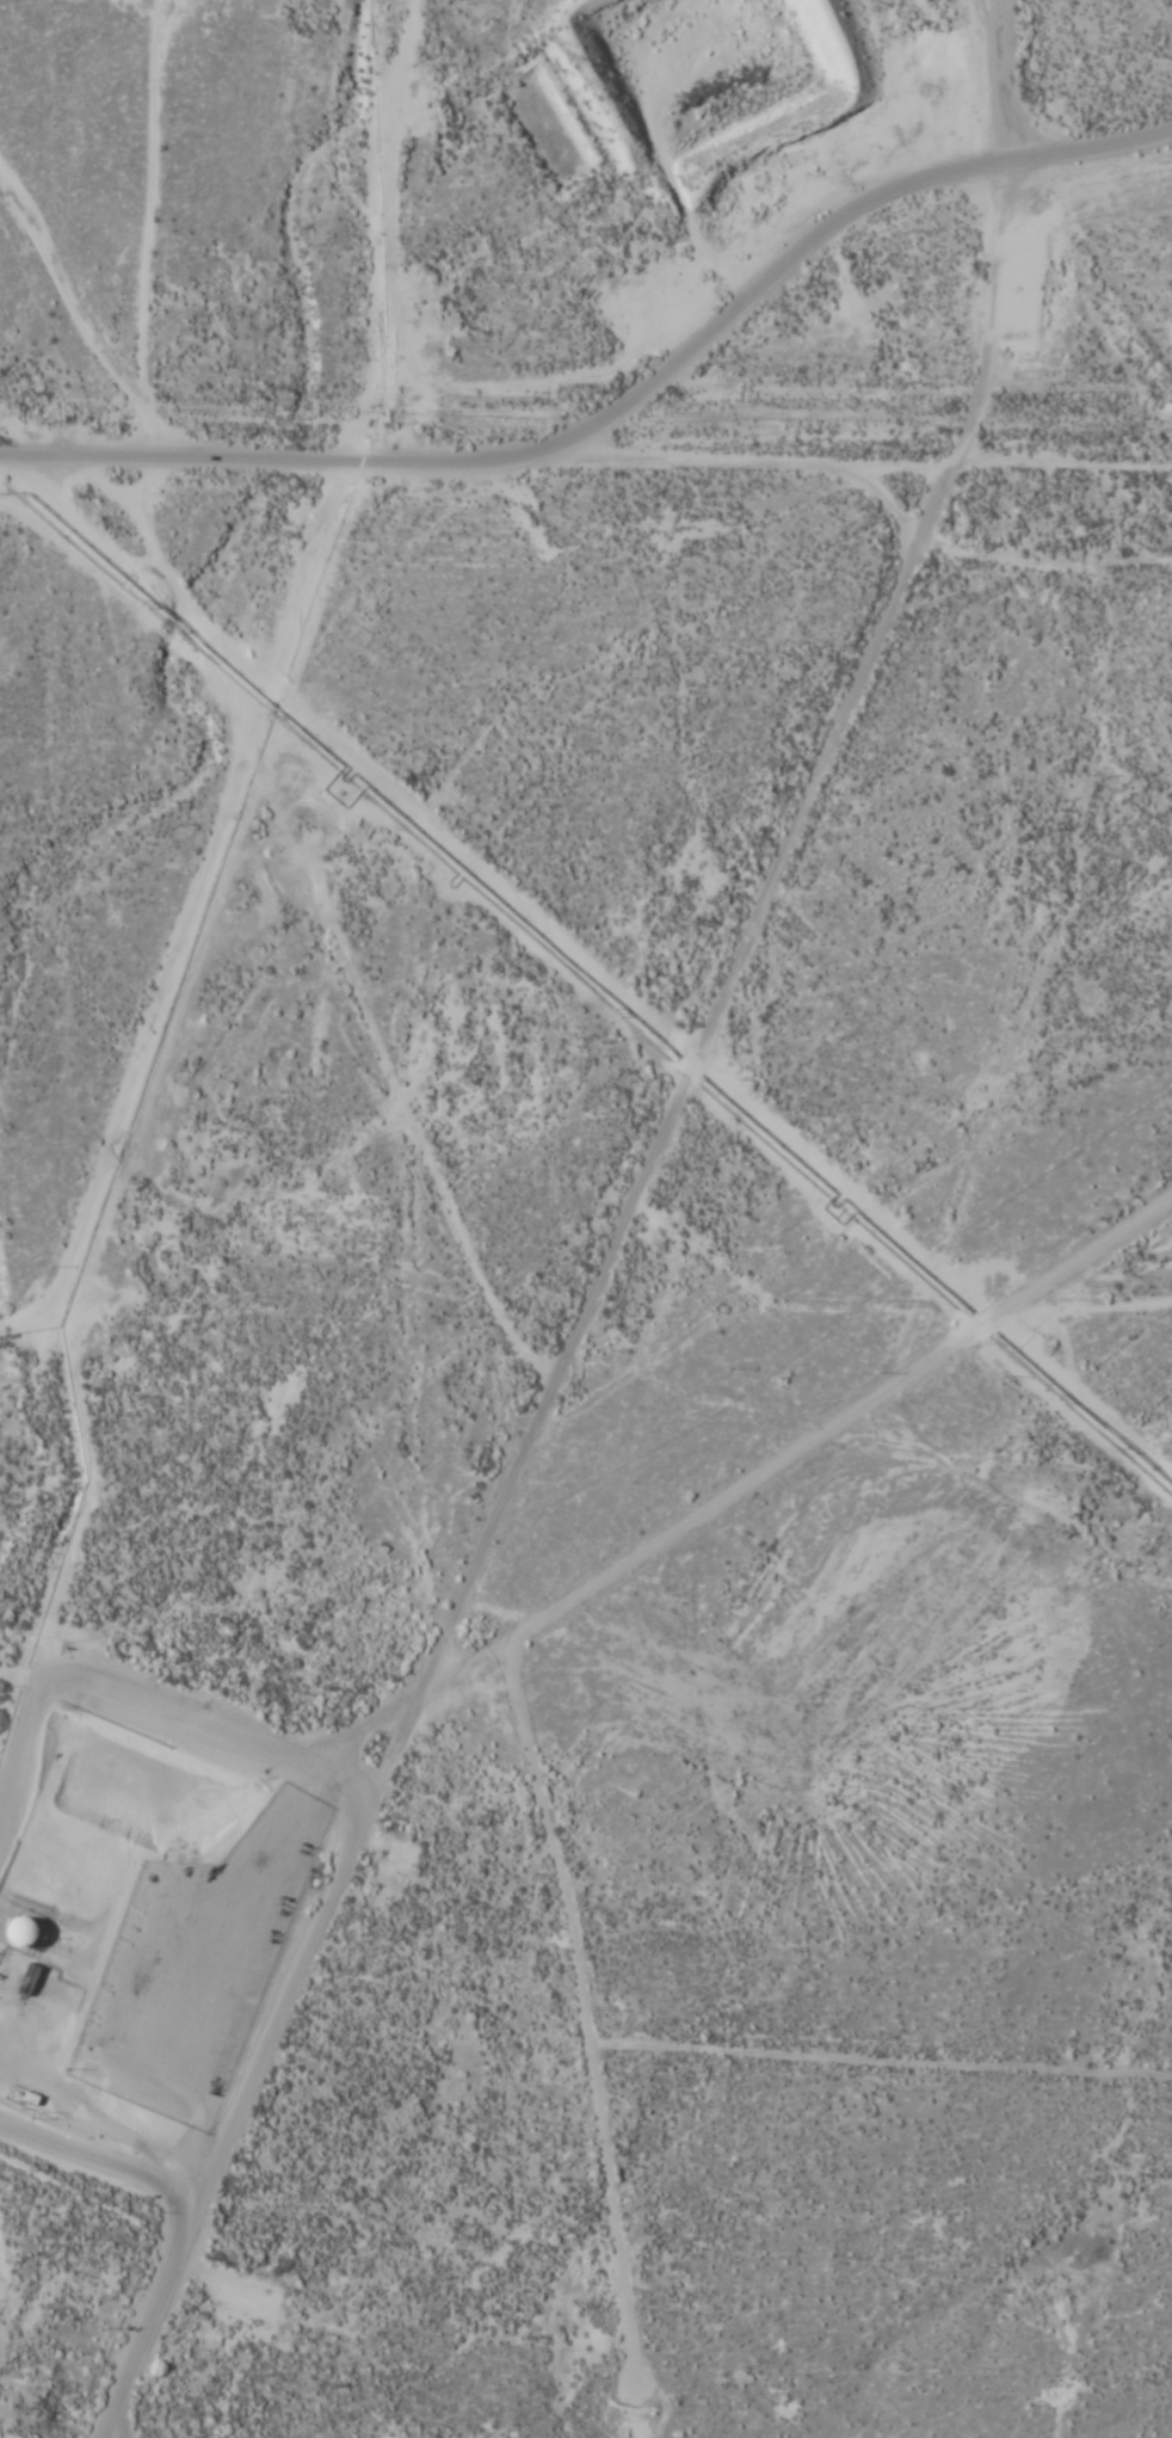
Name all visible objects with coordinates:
road: (116, 1)
road: (999, 232)
road: (86, 454)
road: (554, 454)
road: (752, 460)
road: (1053, 700)
road: (730, 973)
road: (463, 1674)
building: (87, 1781)
building: (118, 1793)
building: (69, 1882)
building: (110, 1898)
building: (21, 1929)
road: (733, 2051)

